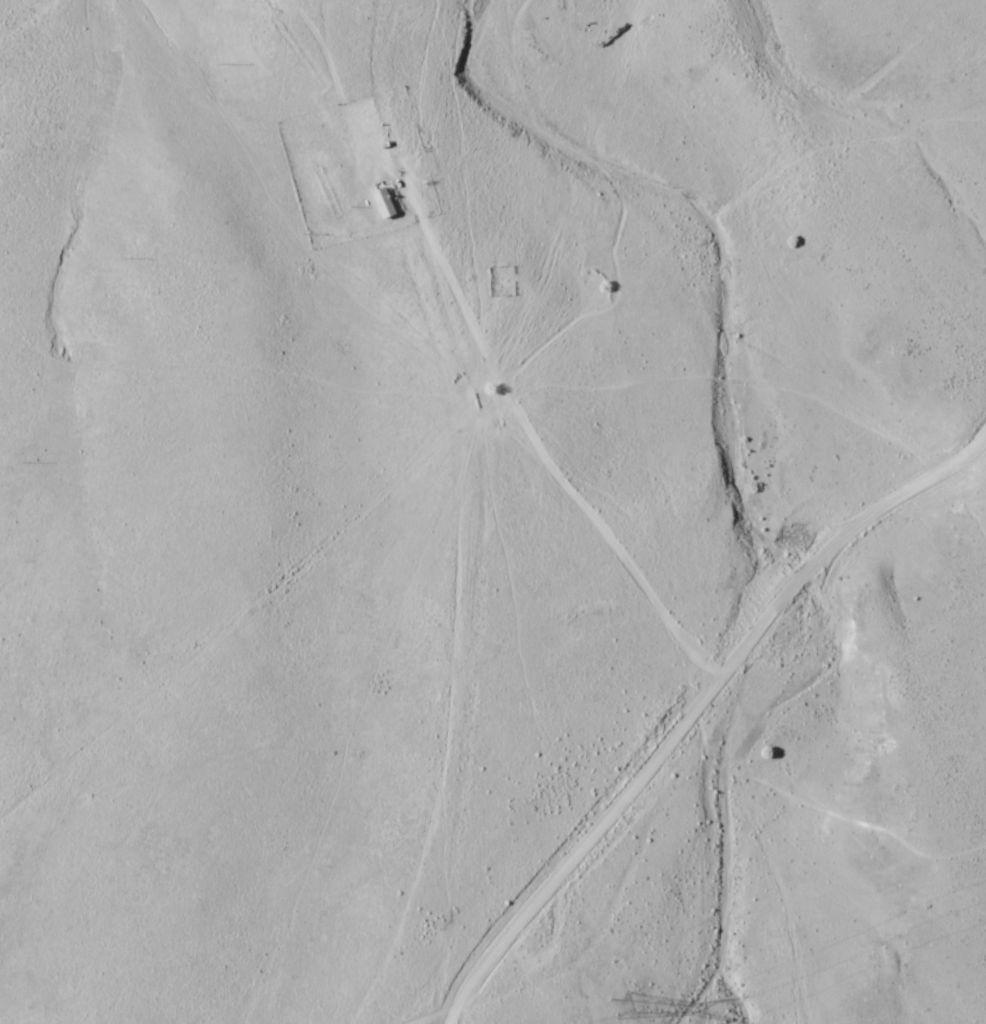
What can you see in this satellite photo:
building: (385, 201)
road: (976, 445)
road: (976, 460)
road: (447, 513)
road: (689, 721)
power tower: (640, 1002)

